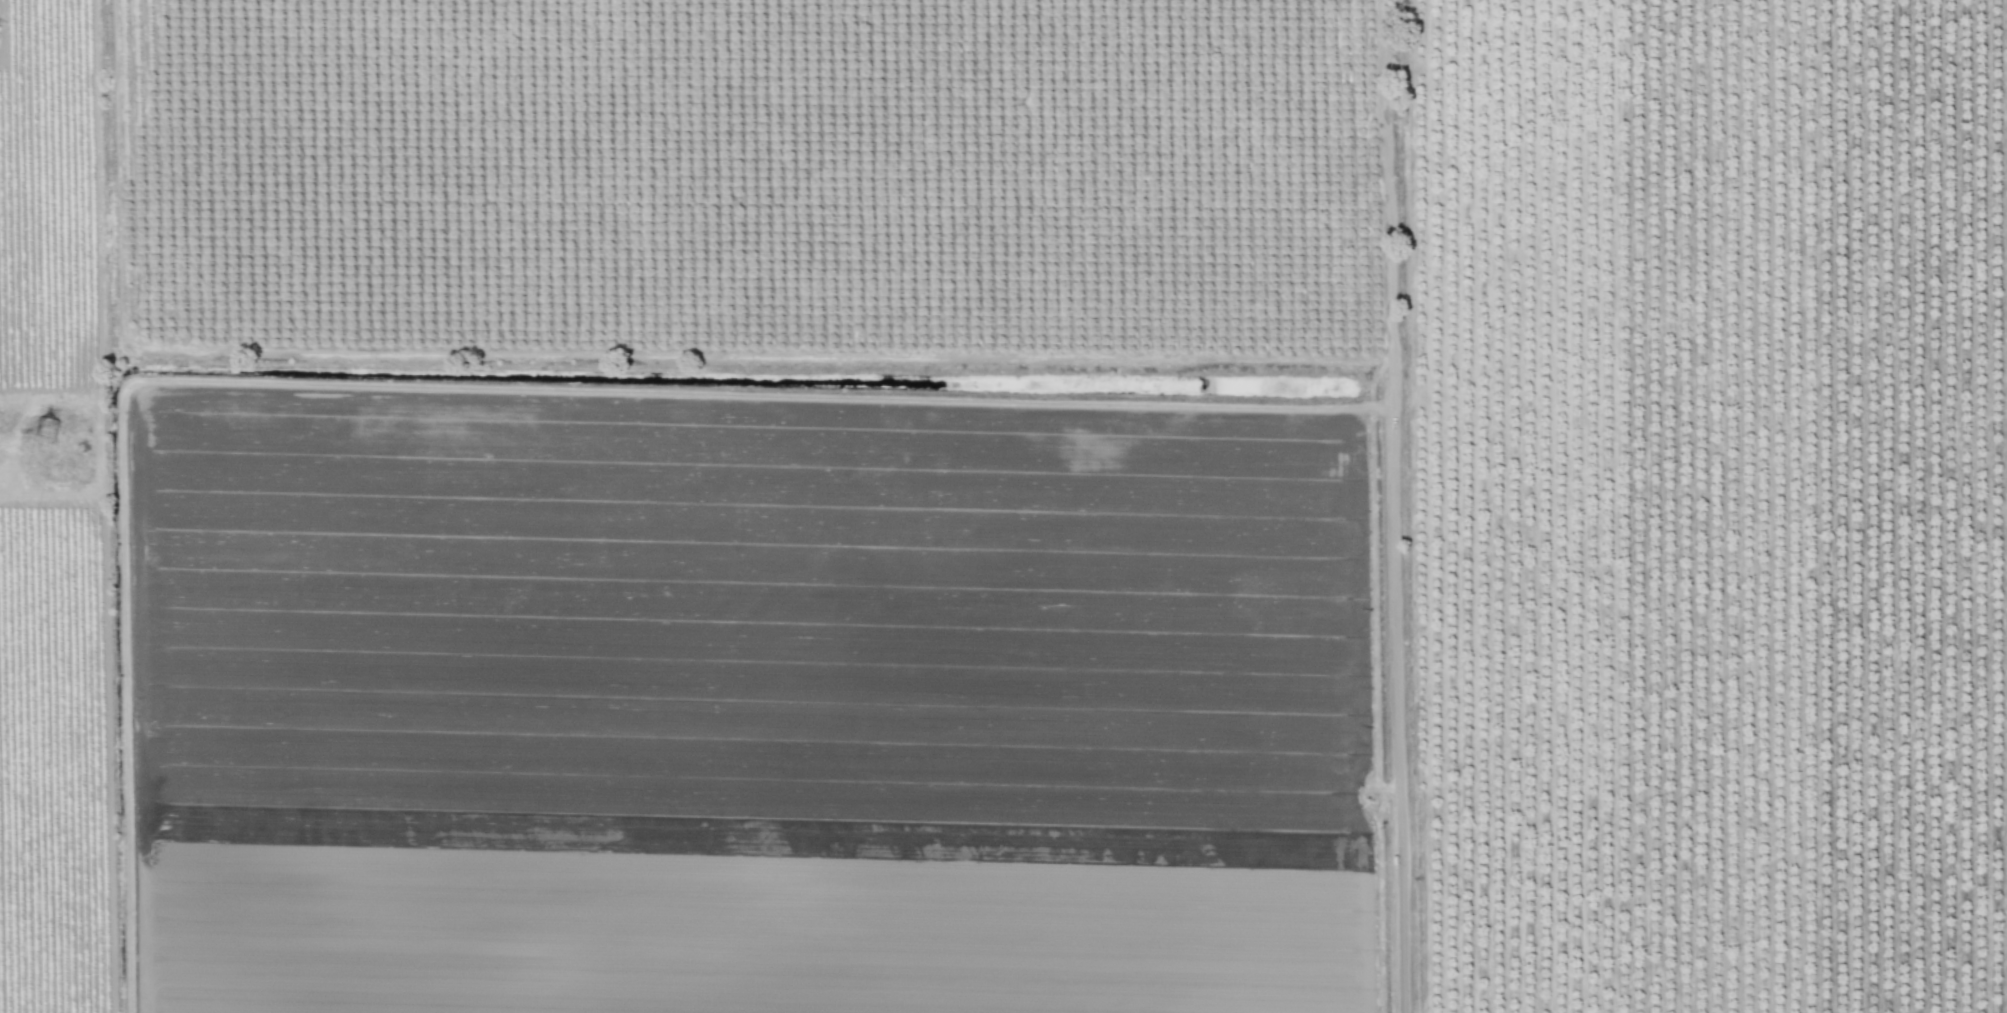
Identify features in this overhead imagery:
power tower: (54, 435)
crop: (1003, 506)
road: (1395, 506)

